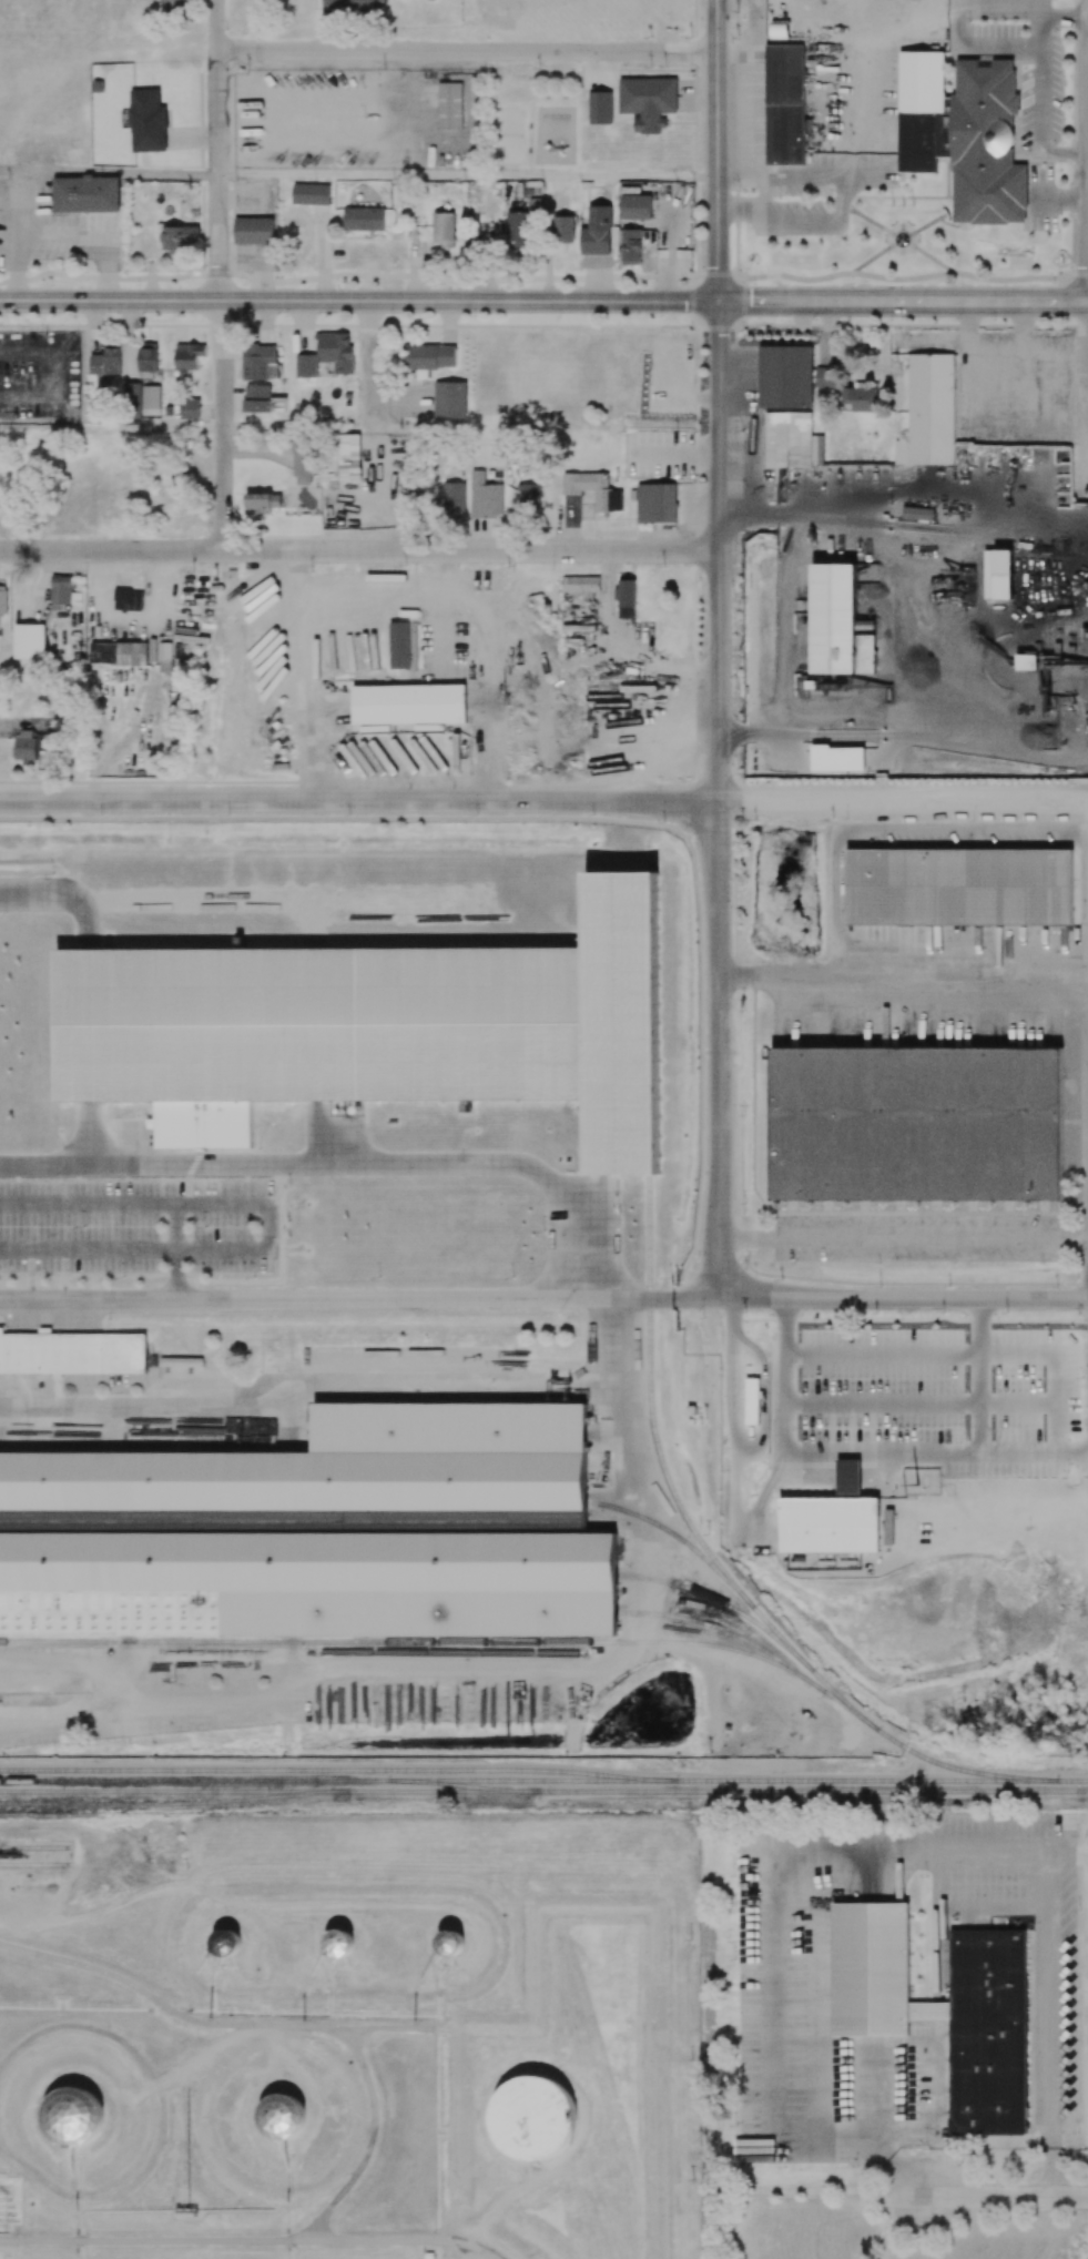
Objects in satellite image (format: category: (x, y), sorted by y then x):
road: (1004, 9)
road: (1065, 14)
road: (1041, 31)
road: (982, 45)
road: (466, 52)
road: (216, 112)
road: (1040, 119)
park: (509, 136)
road: (716, 150)
road: (1087, 151)
road: (109, 172)
road: (467, 174)
road: (804, 180)
road: (1080, 274)
road: (108, 278)
road: (895, 278)
road: (467, 283)
road: (358, 301)
road: (903, 301)
road: (55, 374)
building: (786, 376)
road: (222, 387)
road: (861, 520)
road: (357, 550)
building: (998, 574)
road: (370, 601)
building: (30, 639)
building: (1085, 640)
building: (398, 645)
building: (1027, 661)
building: (408, 705)
road: (718, 799)
road: (543, 800)
building: (959, 887)
road: (904, 979)
building: (917, 1123)
road: (339, 1164)
road: (1087, 1202)
road: (264, 1224)
road: (904, 1236)
road: (174, 1248)
road: (359, 1298)
road: (904, 1298)
road: (840, 1347)
building: (72, 1353)
building: (751, 1392)
railway: (649, 1398)
building: (957, 1405)
building: (337, 1466)
building: (831, 1518)
building: (307, 1584)
railway: (740, 1592)
railway: (724, 1602)
railway: (409, 1641)
railway: (831, 1695)
railway: (337, 1770)
railway: (264, 1780)
railway: (743, 1780)
railway: (166, 1791)
railway: (710, 1791)
railway: (166, 1803)
railway: (35, 1846)
road: (862, 1848)
railway: (35, 1864)
building: (339, 1942)
building: (227, 1943)
building: (451, 1943)
building: (868, 1967)
building: (284, 2117)
building: (73, 2118)
building: (532, 2119)
storage tank: (532, 2119)
road: (940, 2130)
road: (1005, 2196)

